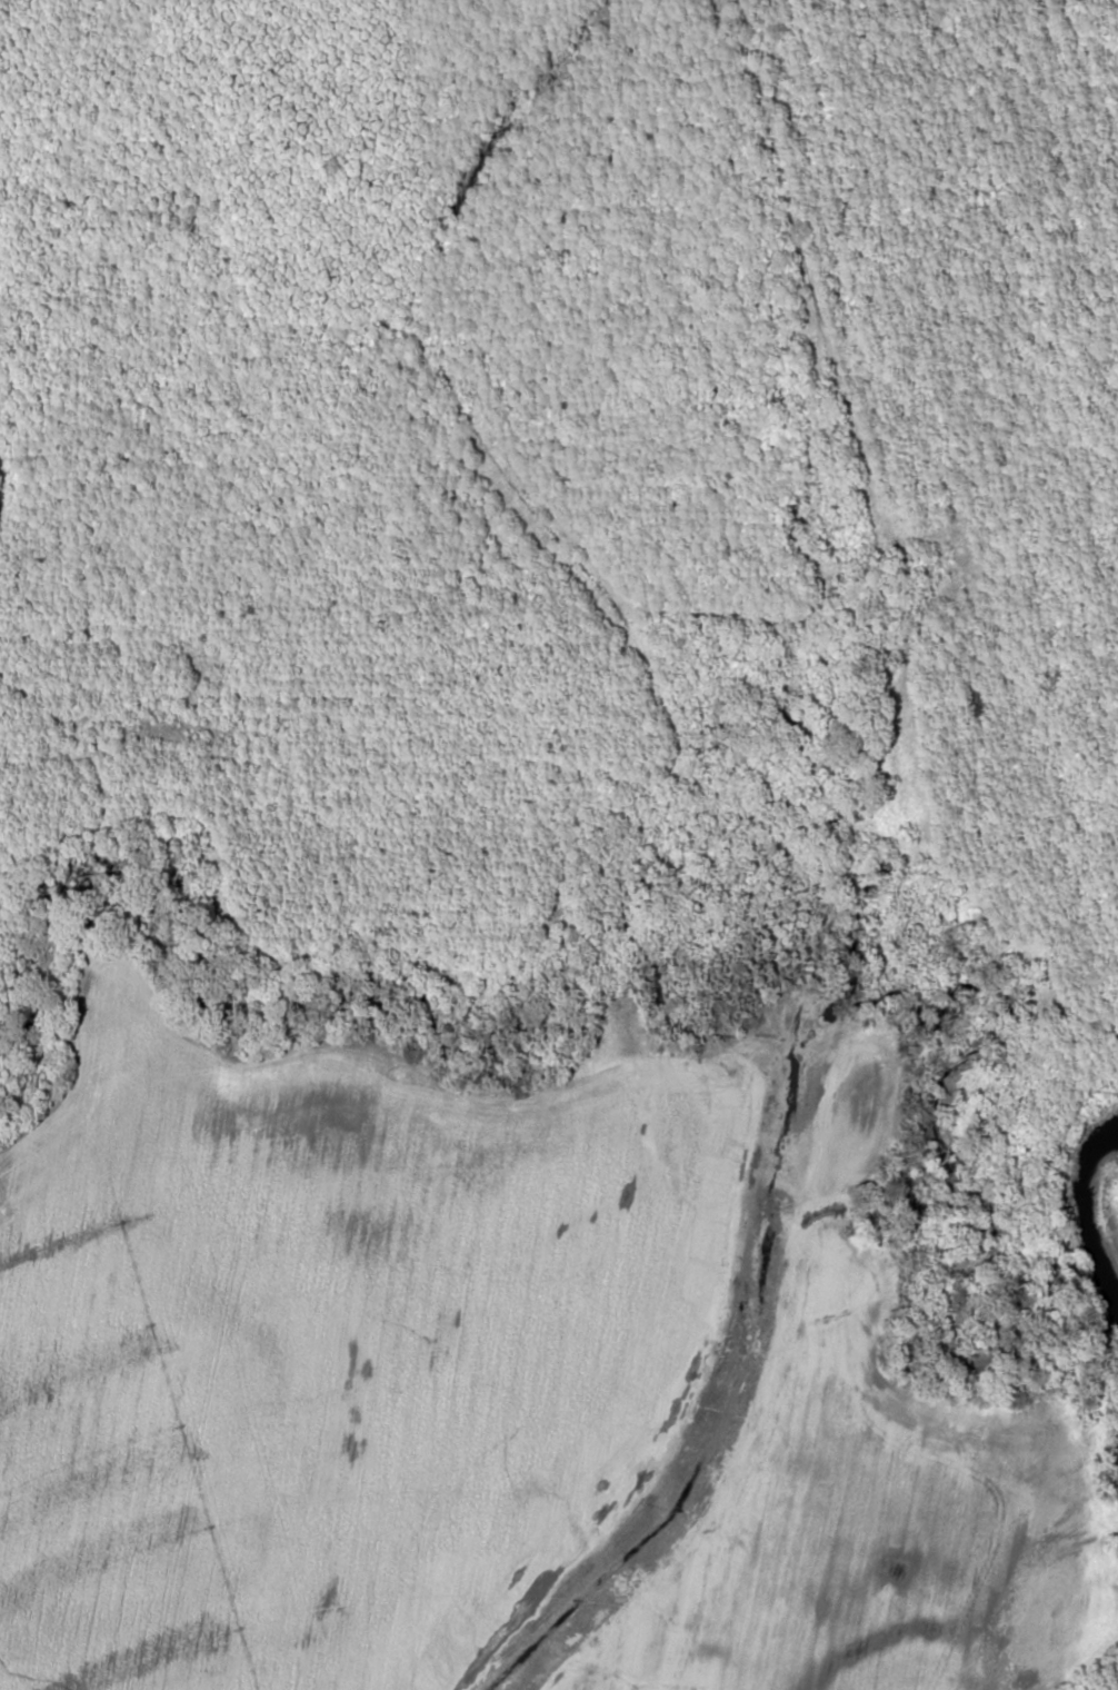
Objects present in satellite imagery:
river: (1084, 1209)

